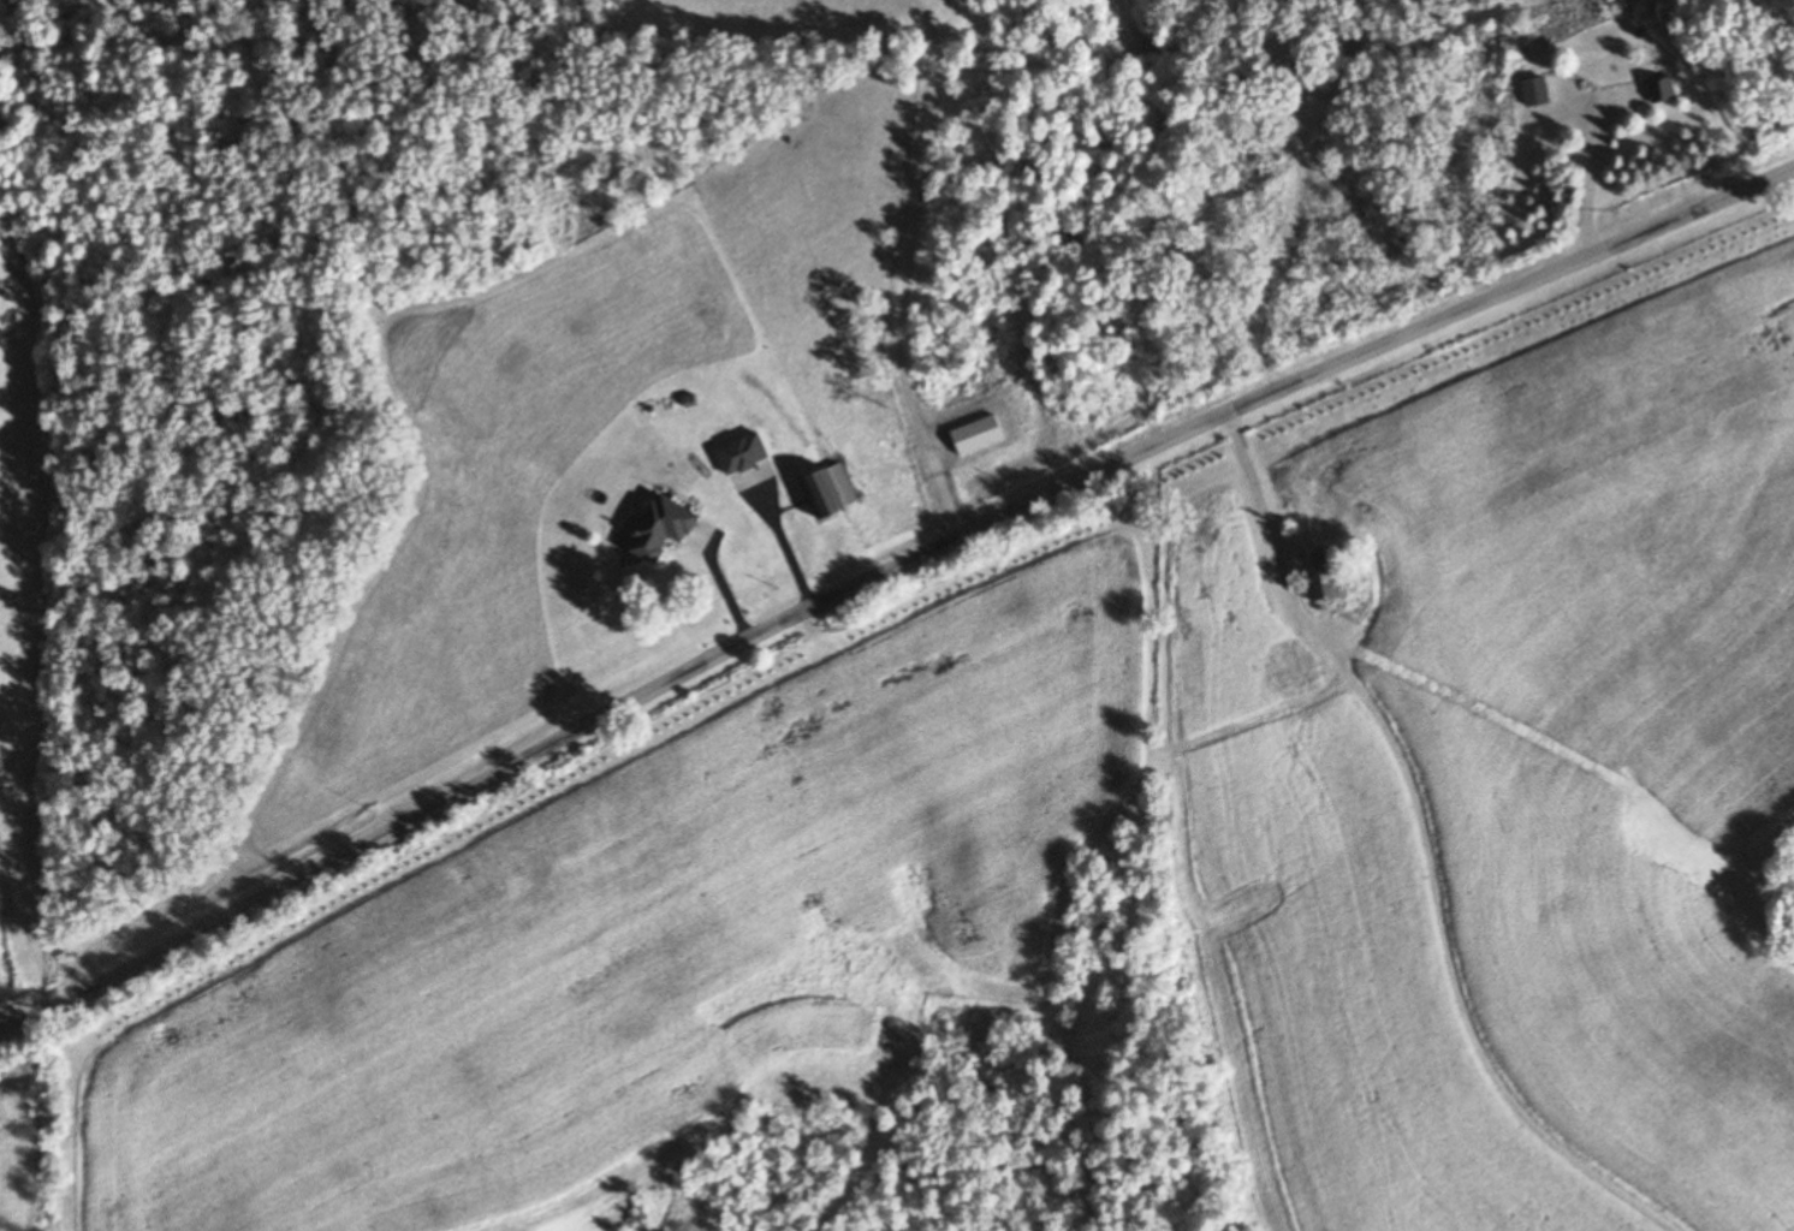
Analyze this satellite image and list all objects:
building: (981, 438)
building: (832, 498)
building: (665, 530)
building: (1330, 579)
road: (889, 581)

